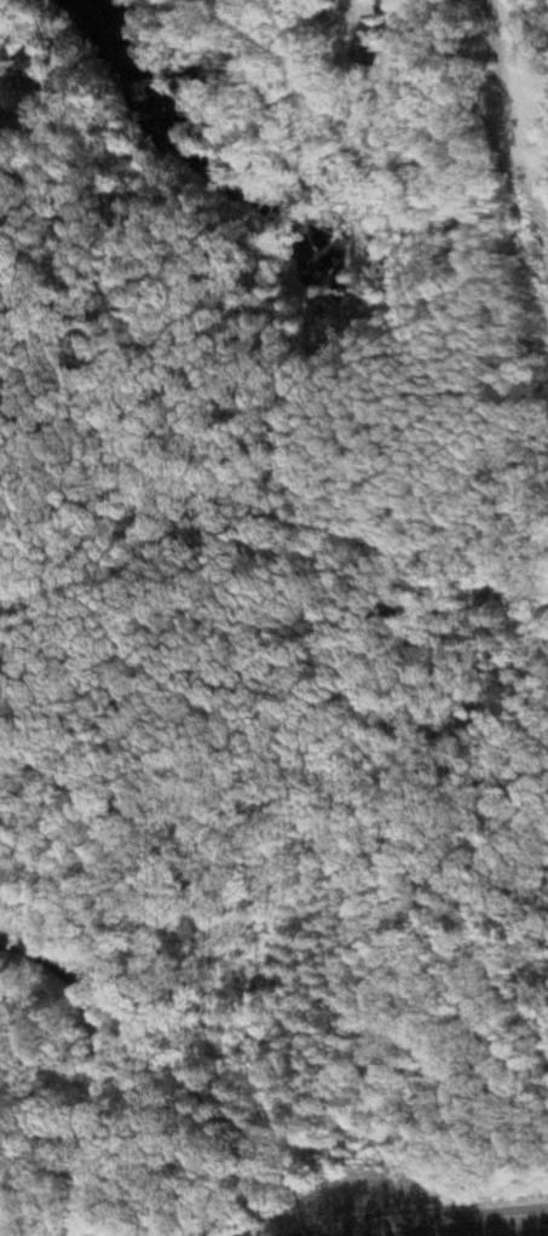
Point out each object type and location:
road: (537, 62)
building: (45, 76)
road: (100, 1064)
road: (472, 1226)

